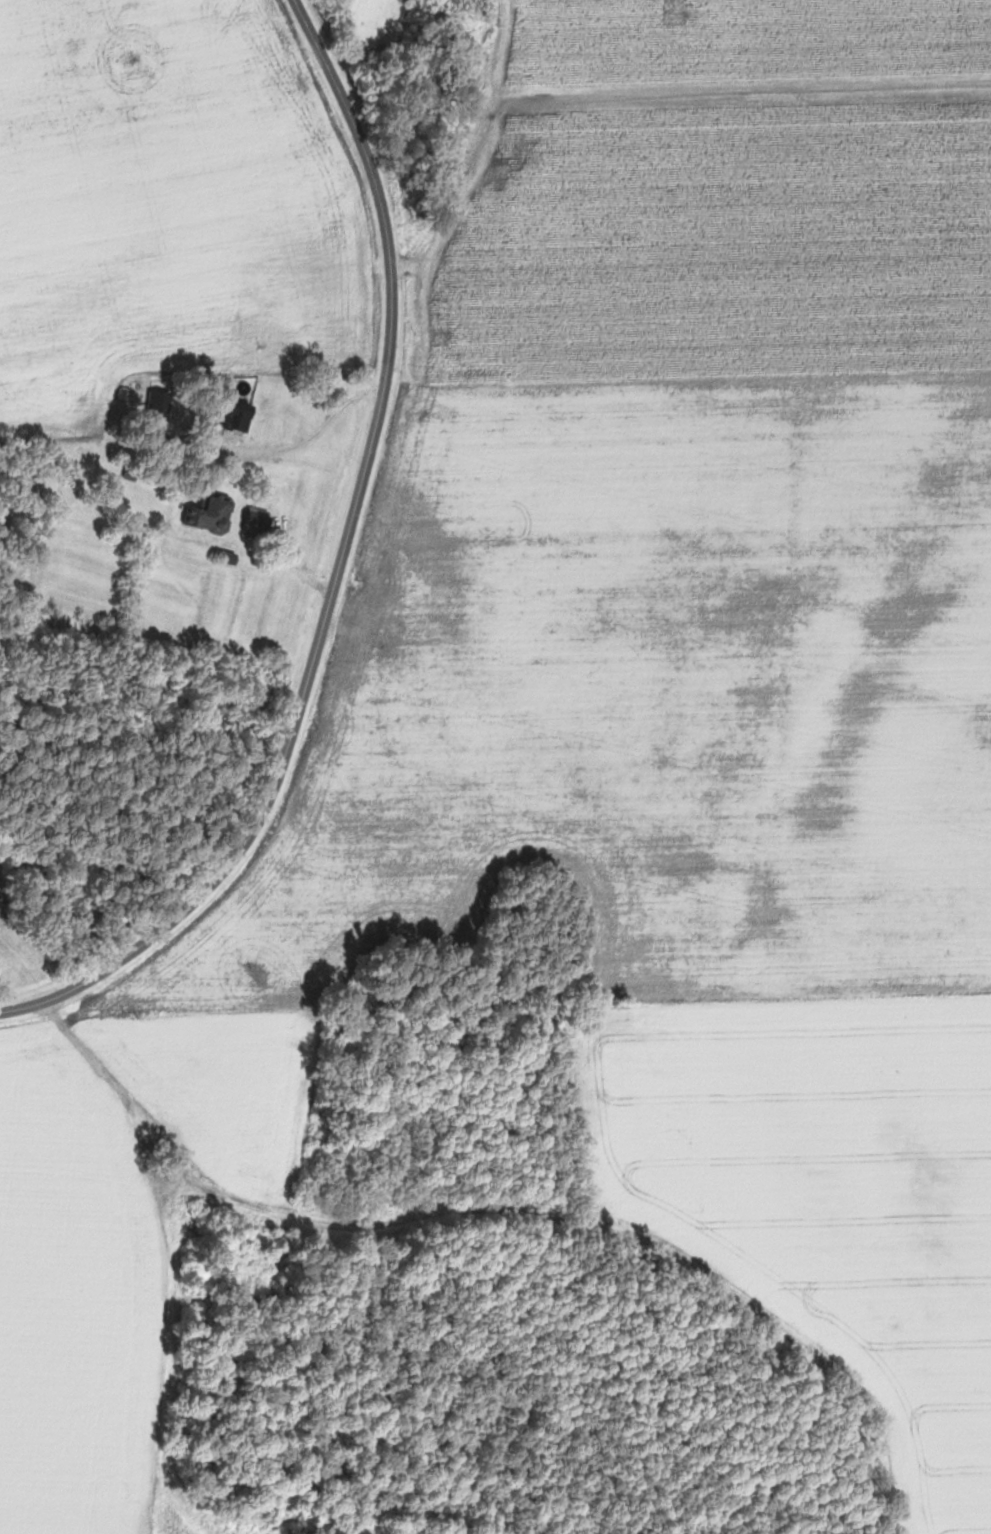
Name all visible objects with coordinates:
building: (163, 401)
building: (242, 414)
building: (213, 513)
building: (260, 520)
road: (337, 571)

